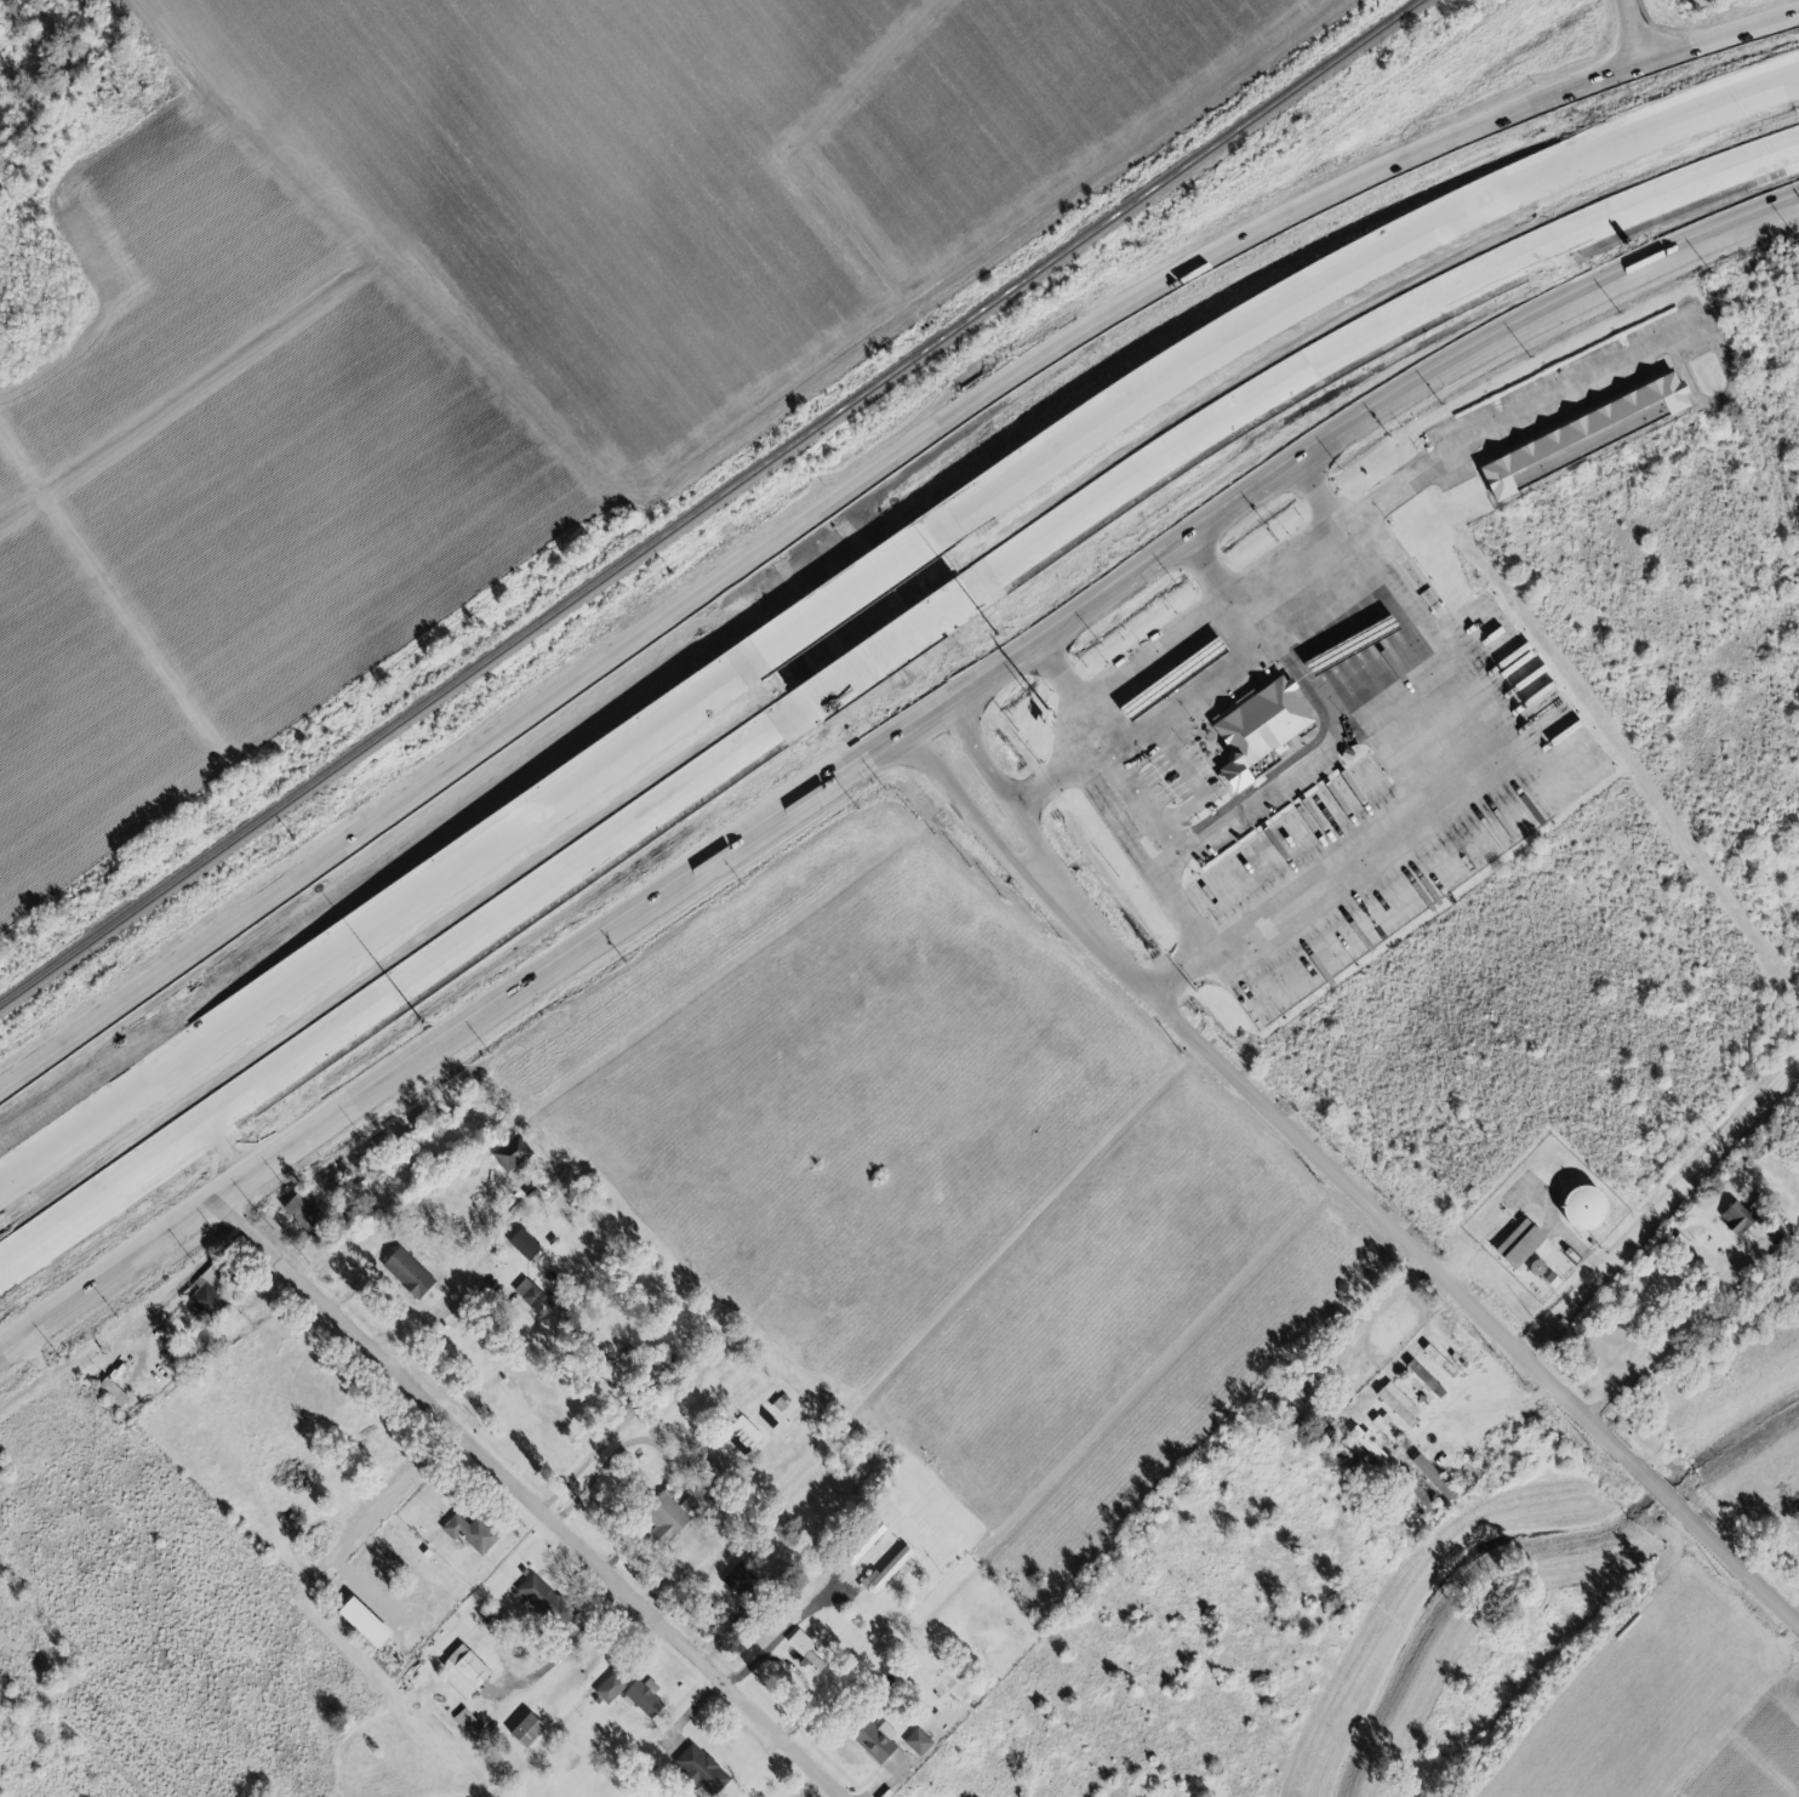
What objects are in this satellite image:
road: (1630, 27)
road: (1348, 278)
road: (1369, 343)
building: (1572, 446)
road: (862, 483)
road: (1313, 500)
railway: (708, 503)
road: (1372, 503)
road: (1205, 575)
road: (908, 581)
building: (844, 595)
road: (843, 600)
road: (1266, 614)
building: (1348, 646)
gas station: (1348, 646)
building: (884, 654)
road: (880, 657)
road: (913, 662)
road: (798, 667)
road: (1306, 677)
road: (1381, 678)
building: (1180, 679)
gas station: (1180, 679)
building: (1264, 729)
road: (913, 741)
road: (884, 751)
road: (1098, 757)
road: (1049, 775)
road: (1473, 778)
road: (475, 851)
road: (1044, 866)
road: (1193, 937)
road: (390, 986)
road: (101, 1116)
building: (514, 1152)
road: (1346, 1186)
building: (1576, 1203)
silo: (1576, 1203)
road: (1661, 1209)
building: (1736, 1220)
building: (527, 1245)
building: (1514, 1245)
road: (190, 1268)
building: (412, 1273)
building: (210, 1294)
building: (535, 1296)
road: (1364, 1318)
road: (436, 1324)
road: (1678, 1331)
building: (606, 1367)
building: (1421, 1379)
building: (1392, 1409)
building: (1382, 1428)
building: (746, 1436)
building: (1364, 1444)
road: (582, 1462)
building: (1429, 1478)
road: (1652, 1483)
building: (1418, 1499)
road: (520, 1500)
building: (673, 1518)
building: (473, 1533)
road: (1742, 1570)
building: (741, 1578)
building: (546, 1599)
building: (370, 1622)
road: (775, 1643)
building: (803, 1643)
building: (467, 1671)
building: (612, 1688)
building: (647, 1698)
building: (470, 1724)
building: (533, 1730)
building: (919, 1742)
building: (880, 1747)
building: (703, 1769)

